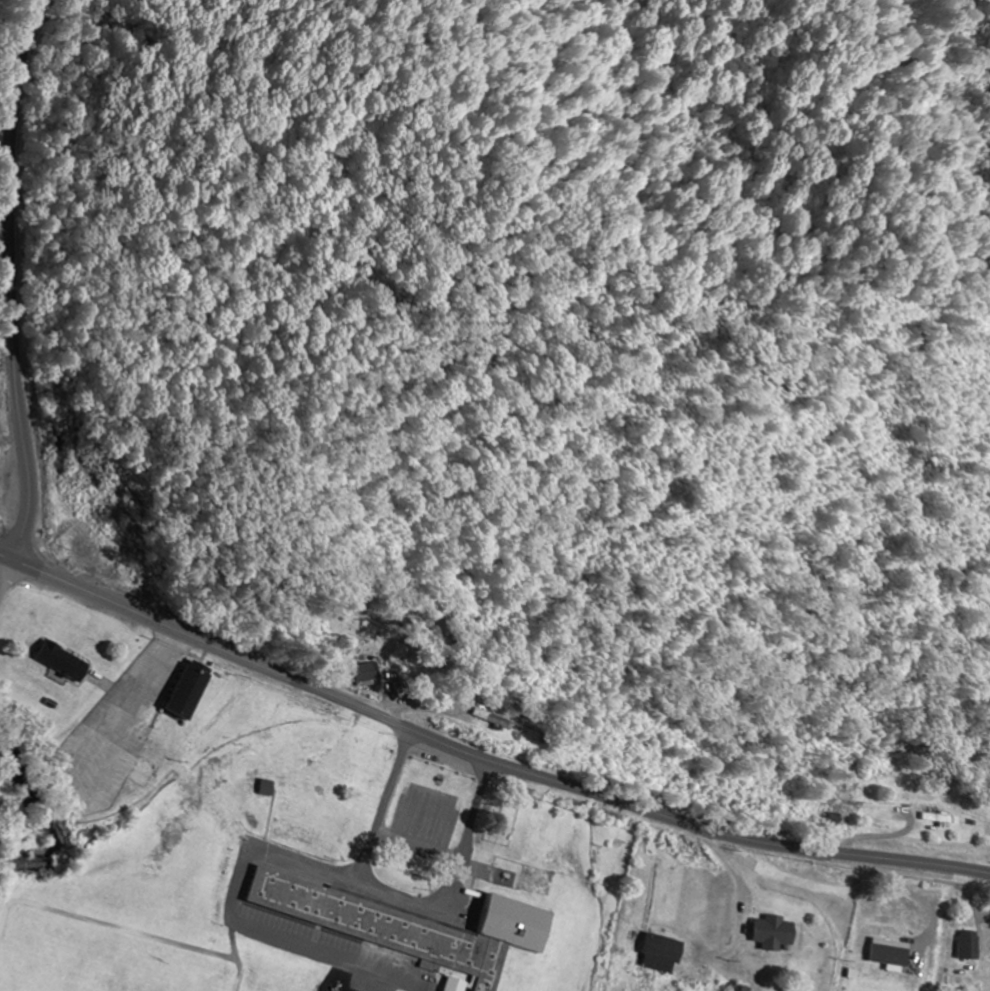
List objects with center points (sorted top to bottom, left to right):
road: (10, 264)
building: (55, 662)
building: (362, 676)
building: (184, 692)
building: (490, 719)
road: (484, 752)
building: (263, 789)
building: (938, 820)
building: (412, 928)
building: (772, 934)
building: (968, 947)
building: (660, 955)
building: (887, 956)
building: (449, 985)

